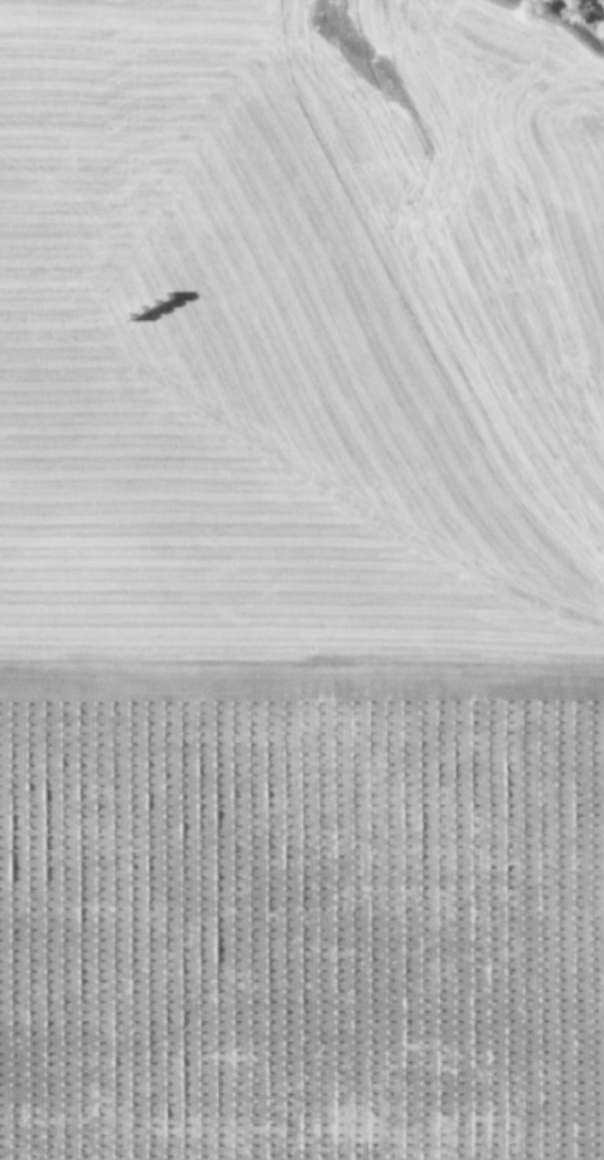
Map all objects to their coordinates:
crop: (300, 582)

